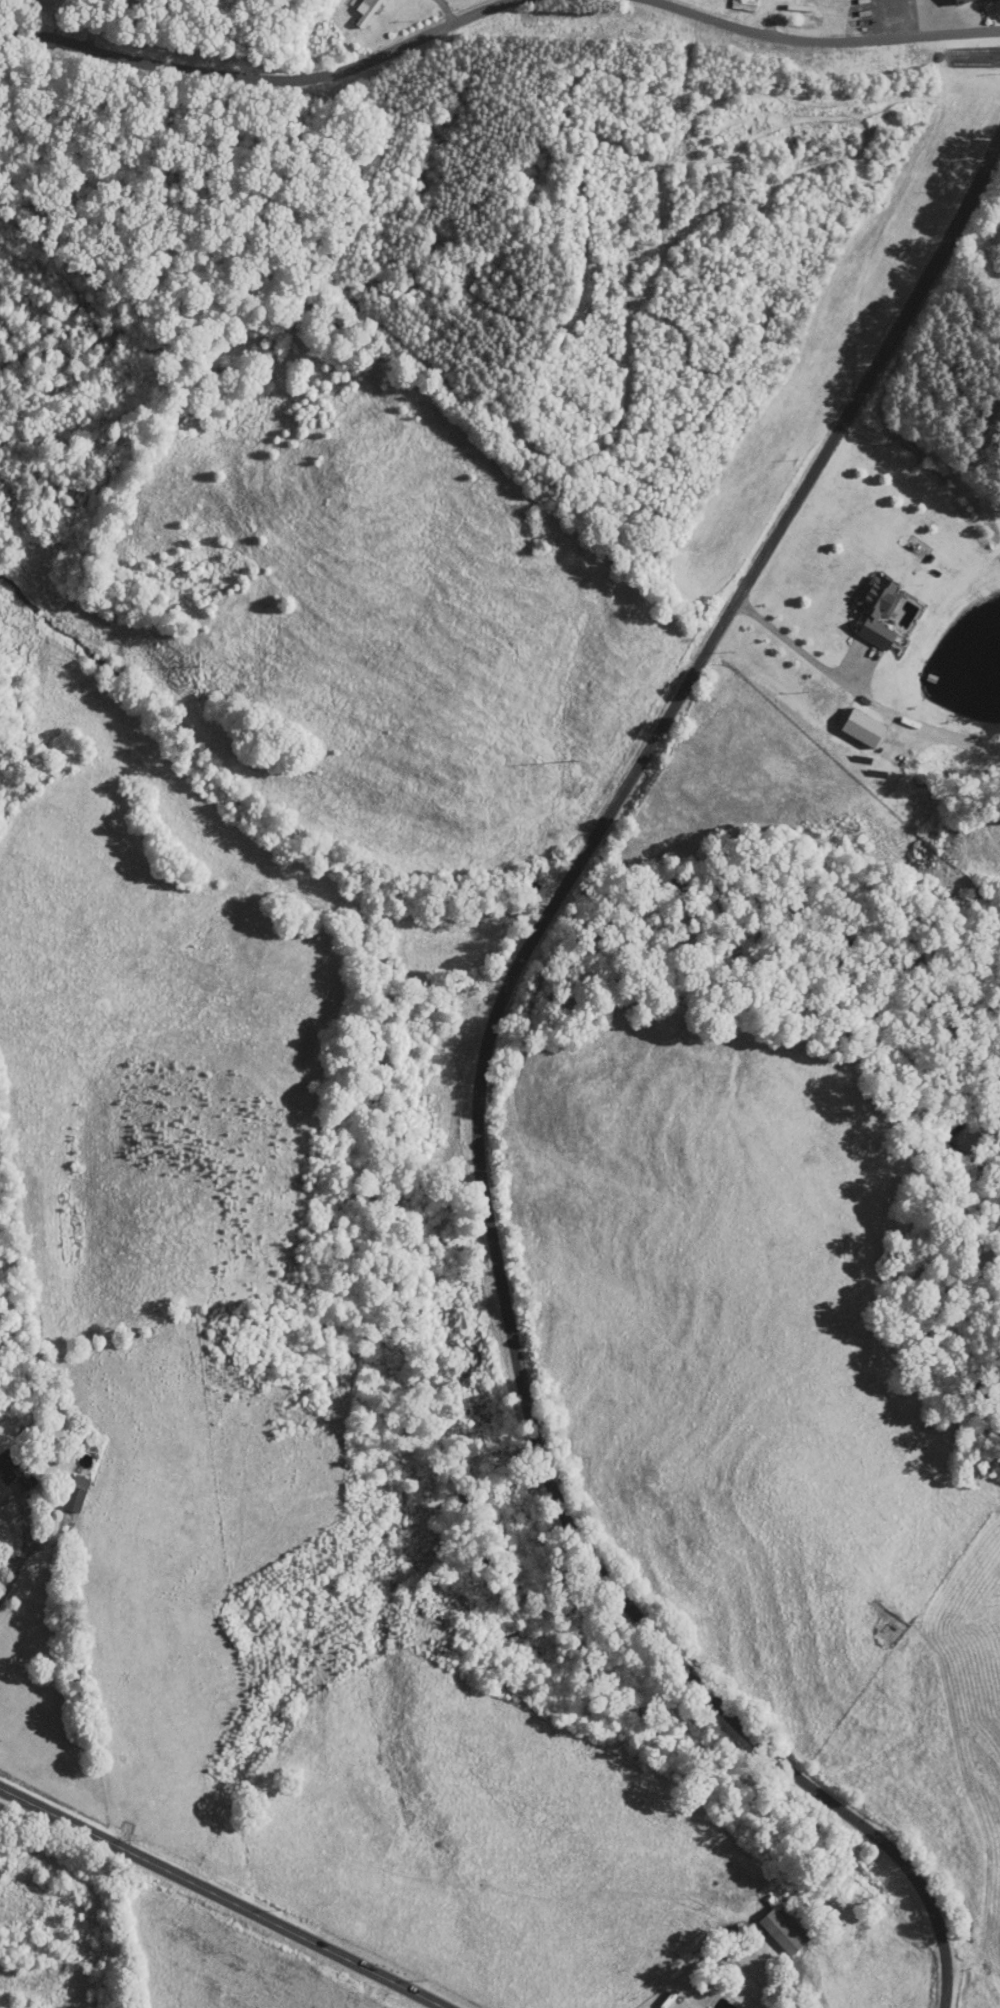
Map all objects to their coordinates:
building: (983, 1)
building: (963, 2)
building: (744, 4)
building: (369, 9)
road: (447, 9)
building: (799, 21)
road: (90, 23)
road: (831, 38)
road: (257, 76)
building: (879, 612)
road: (801, 651)
road: (481, 1084)
building: (11, 1470)
building: (75, 1500)
road: (11, 1581)
road: (220, 1898)
building: (785, 1930)

